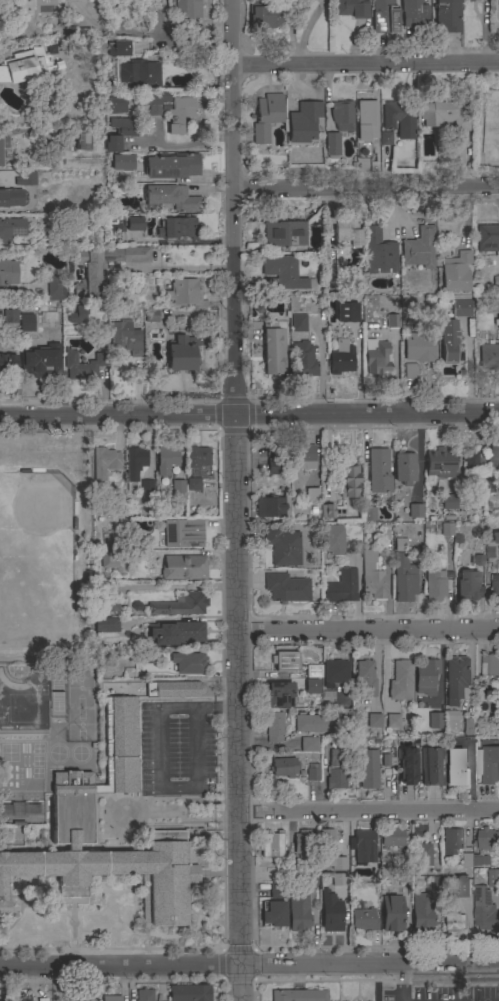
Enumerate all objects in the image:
building: (467, 0)
building: (497, 0)
building: (351, 8)
building: (187, 9)
road: (159, 13)
building: (265, 14)
building: (414, 14)
building: (447, 15)
building: (384, 16)
road: (112, 25)
building: (120, 48)
road: (324, 62)
building: (25, 66)
building: (140, 74)
building: (116, 105)
building: (170, 109)
building: (367, 113)
building: (342, 115)
building: (267, 116)
building: (446, 117)
building: (398, 118)
building: (303, 121)
building: (119, 133)
building: (385, 138)
building: (78, 142)
building: (3, 144)
road: (185, 145)
building: (332, 147)
building: (363, 150)
building: (1, 151)
building: (122, 162)
building: (171, 166)
building: (26, 179)
road: (365, 187)
building: (10, 197)
building: (171, 198)
building: (135, 224)
building: (11, 229)
building: (177, 229)
building: (345, 231)
building: (283, 232)
building: (487, 239)
building: (419, 248)
building: (379, 252)
building: (103, 266)
road: (184, 267)
building: (456, 272)
building: (7, 273)
building: (282, 274)
building: (495, 281)
building: (353, 286)
building: (54, 288)
building: (184, 293)
road: (20, 303)
building: (461, 308)
building: (81, 312)
building: (347, 312)
building: (151, 315)
building: (10, 316)
building: (392, 320)
building: (26, 322)
building: (496, 322)
building: (125, 337)
building: (448, 340)
building: (274, 348)
building: (301, 348)
building: (419, 348)
building: (182, 353)
building: (376, 356)
building: (489, 356)
building: (341, 358)
building: (39, 363)
building: (84, 365)
building: (8, 367)
building: (410, 370)
road: (249, 413)
building: (493, 453)
building: (304, 457)
building: (471, 459)
building: (166, 460)
building: (274, 461)
building: (104, 462)
building: (440, 463)
building: (134, 465)
building: (197, 467)
building: (404, 468)
building: (378, 471)
building: (348, 481)
building: (492, 481)
building: (147, 482)
building: (177, 490)
building: (311, 495)
road: (234, 500)
building: (448, 502)
building: (272, 506)
building: (148, 509)
building: (327, 511)
building: (415, 511)
building: (368, 514)
building: (447, 529)
building: (184, 534)
building: (496, 536)
building: (334, 540)
building: (400, 545)
building: (283, 546)
building: (489, 550)
building: (109, 560)
building: (183, 567)
building: (372, 577)
building: (405, 582)
building: (495, 584)
building: (434, 585)
building: (468, 586)
building: (286, 587)
building: (342, 587)
building: (107, 604)
building: (175, 605)
building: (106, 625)
road: (367, 630)
building: (175, 632)
building: (145, 657)
building: (285, 661)
building: (188, 662)
building: (490, 665)
building: (313, 671)
building: (335, 673)
building: (426, 676)
building: (365, 678)
building: (456, 678)
building: (401, 681)
building: (312, 686)
building: (173, 688)
building: (496, 689)
building: (277, 695)
building: (57, 702)
building: (450, 719)
building: (435, 720)
building: (374, 721)
building: (393, 721)
building: (317, 723)
building: (476, 724)
building: (274, 726)
building: (466, 730)
building: (309, 744)
building: (476, 763)
building: (407, 766)
building: (431, 766)
building: (490, 766)
road: (160, 767)
building: (284, 767)
building: (456, 768)
building: (336, 769)
building: (369, 769)
building: (312, 772)
road: (367, 811)
building: (19, 812)
building: (71, 812)
road: (152, 812)
road: (182, 814)
road: (209, 821)
building: (391, 836)
building: (487, 839)
building: (452, 840)
building: (271, 844)
building: (302, 845)
building: (363, 847)
building: (329, 851)
building: (422, 854)
building: (474, 860)
building: (281, 873)
building: (309, 876)
building: (404, 876)
building: (493, 878)
building: (339, 879)
building: (436, 883)
building: (461, 887)
building: (277, 891)
building: (483, 909)
building: (299, 912)
building: (331, 912)
building: (422, 912)
building: (392, 913)
building: (273, 914)
building: (363, 918)
building: (454, 921)
road: (249, 965)
road: (401, 983)
road: (91, 984)
building: (189, 993)
building: (144, 995)
building: (299, 995)
building: (111, 998)
building: (42, 999)
building: (71, 1000)
building: (81, 1000)

